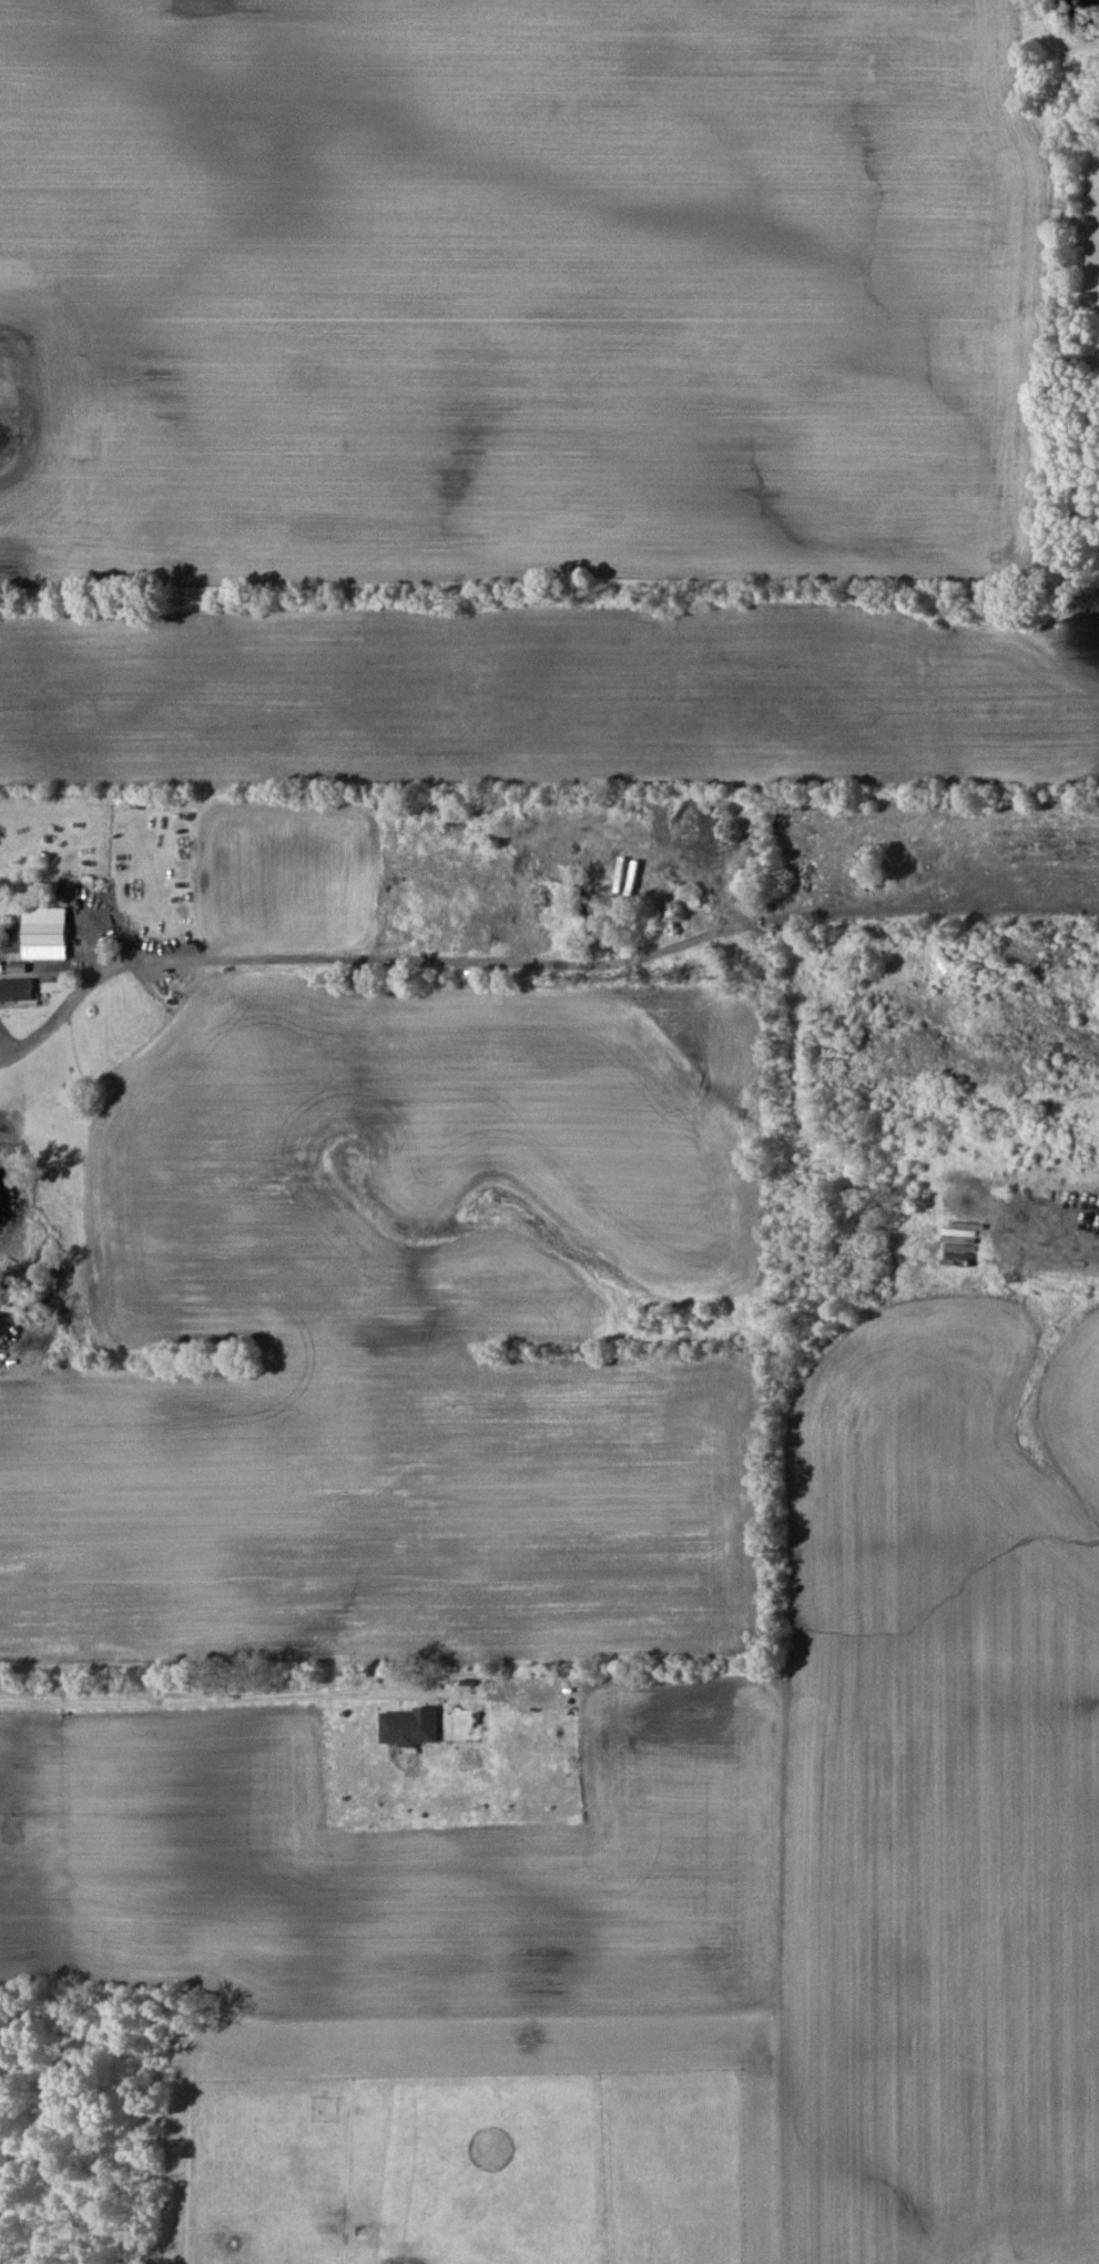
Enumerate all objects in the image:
building: (44, 933)
road: (535, 954)
building: (17, 989)
road: (201, 1698)
building: (410, 1726)

